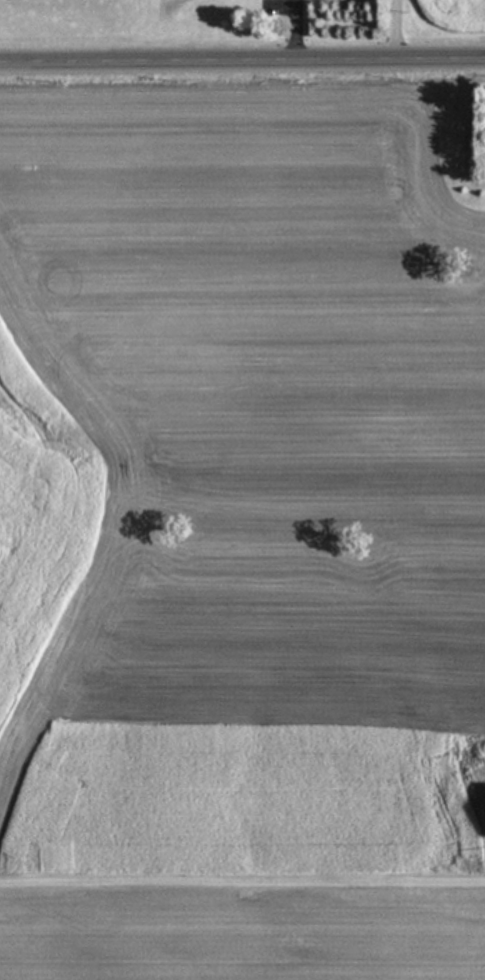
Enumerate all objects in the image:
road: (395, 31)
road: (242, 63)
road: (242, 881)

